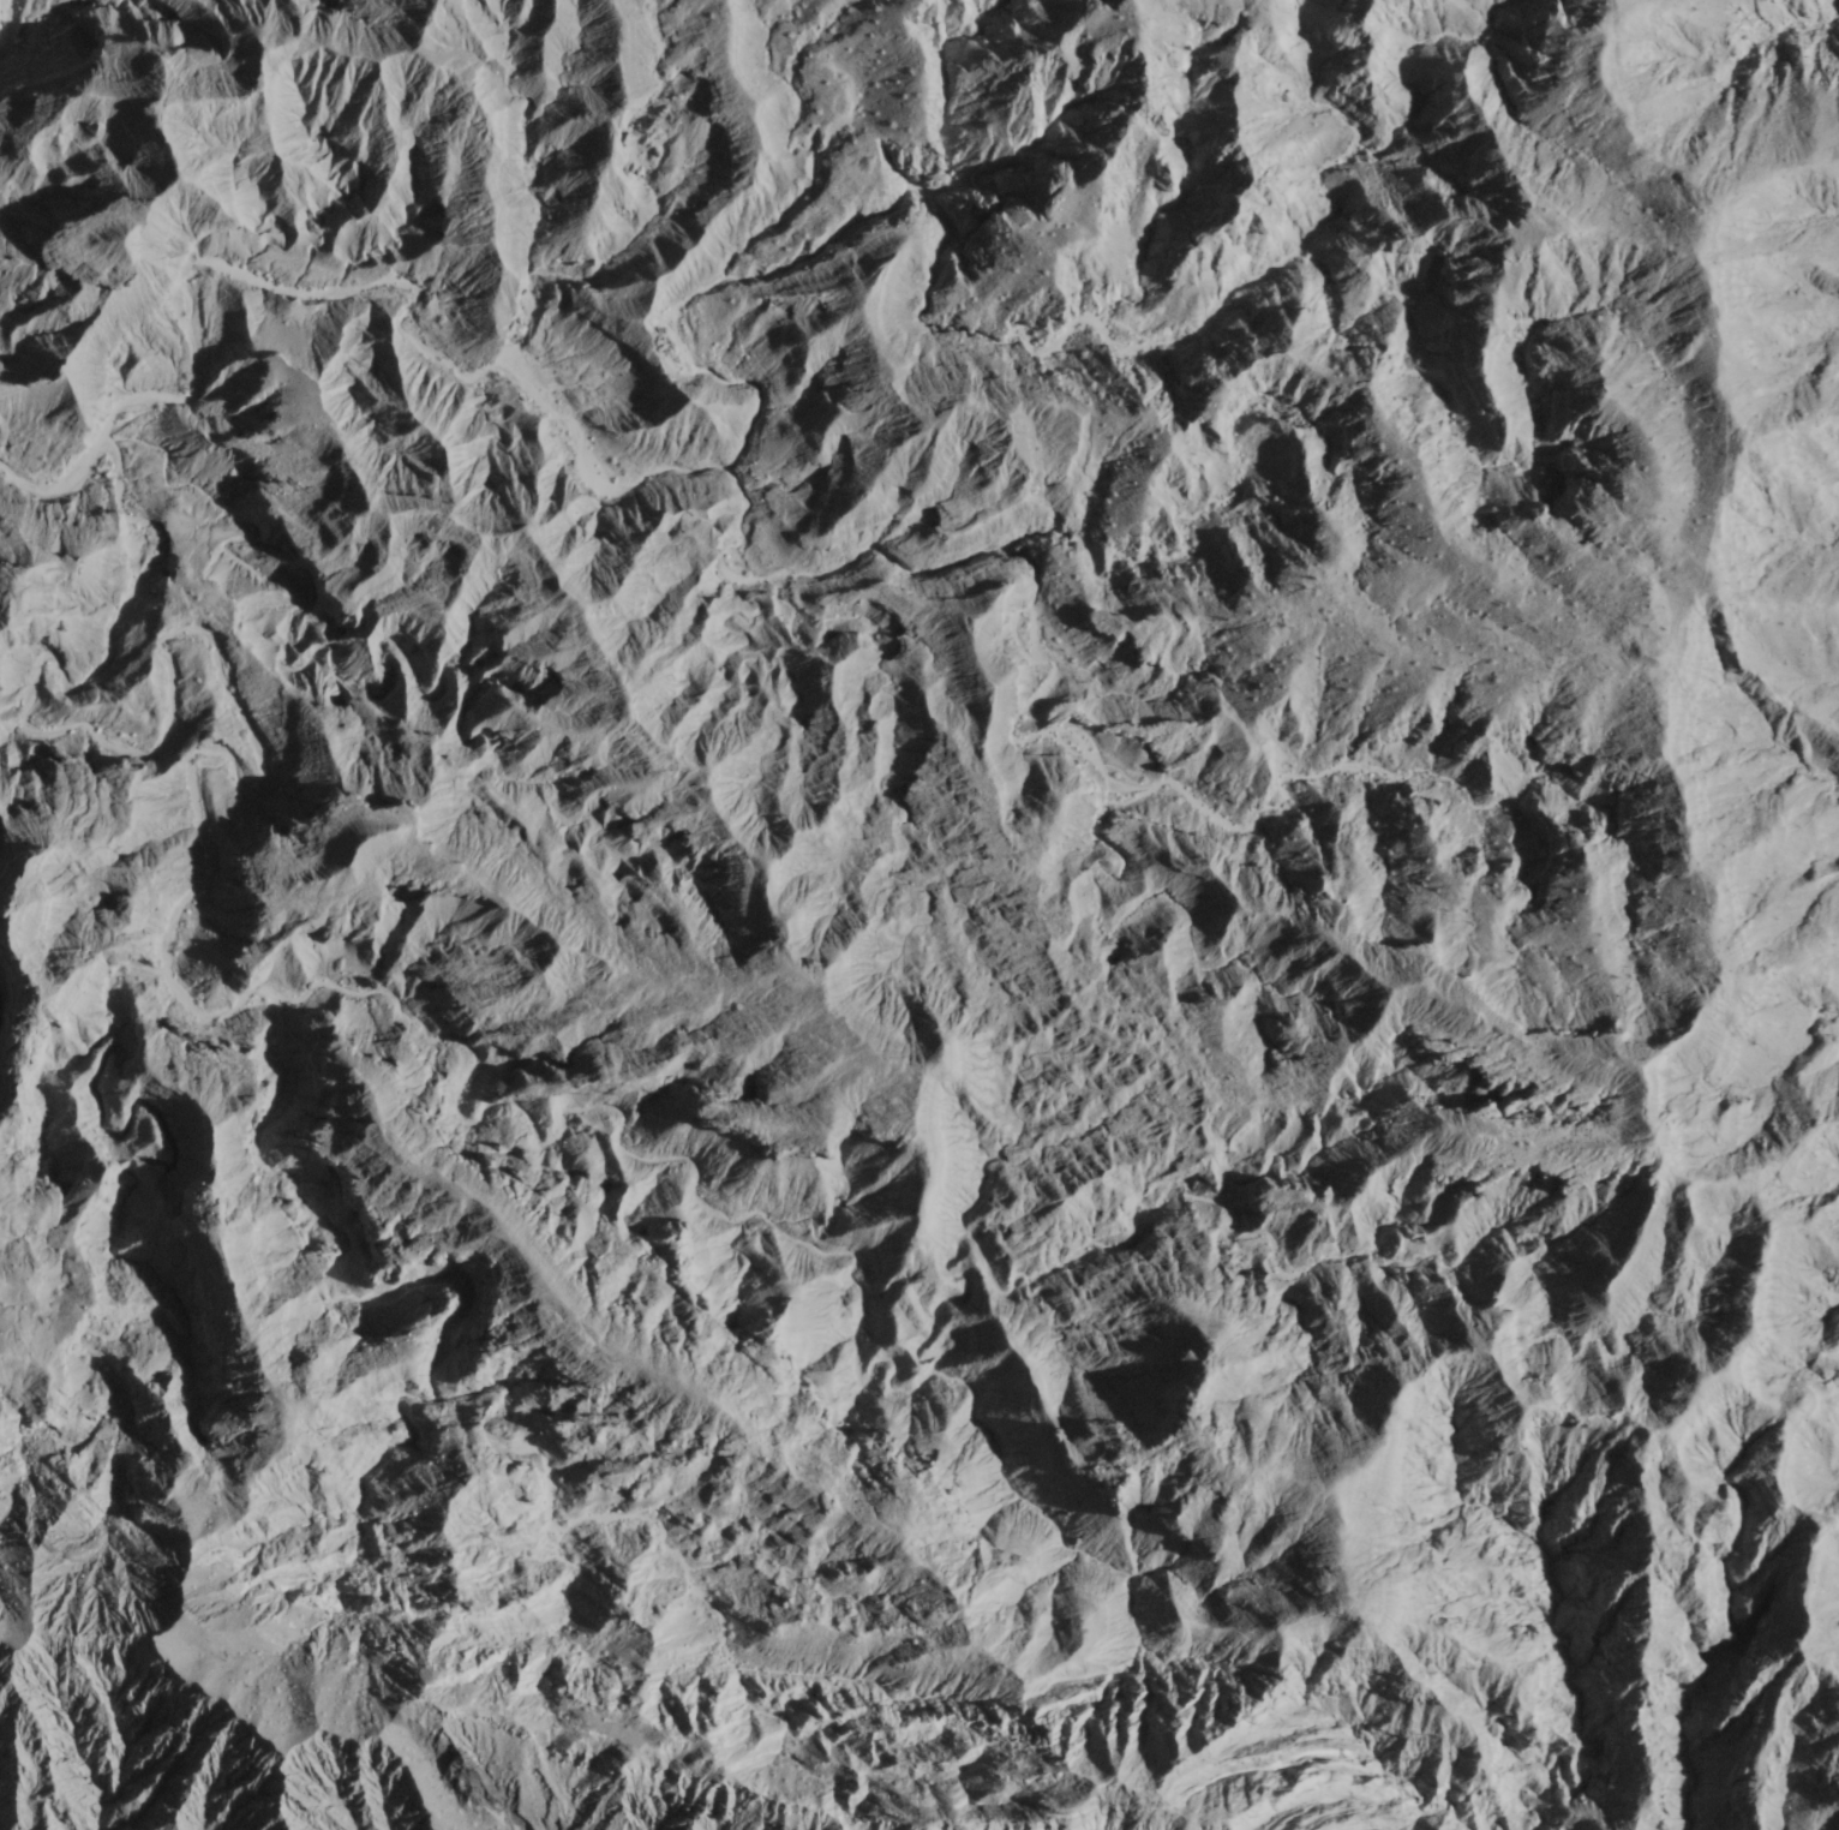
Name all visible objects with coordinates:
road: (8, 26)
road: (1713, 311)
road: (1672, 759)
road: (1742, 848)

